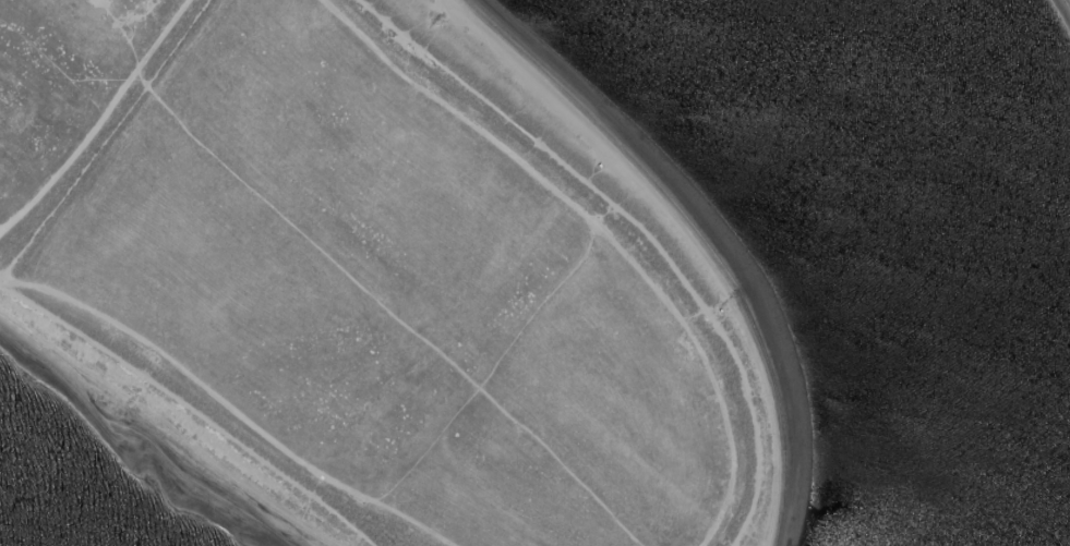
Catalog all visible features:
road: (101, 122)
road: (599, 230)
park: (376, 278)
road: (362, 330)
road: (494, 380)
road: (216, 401)

